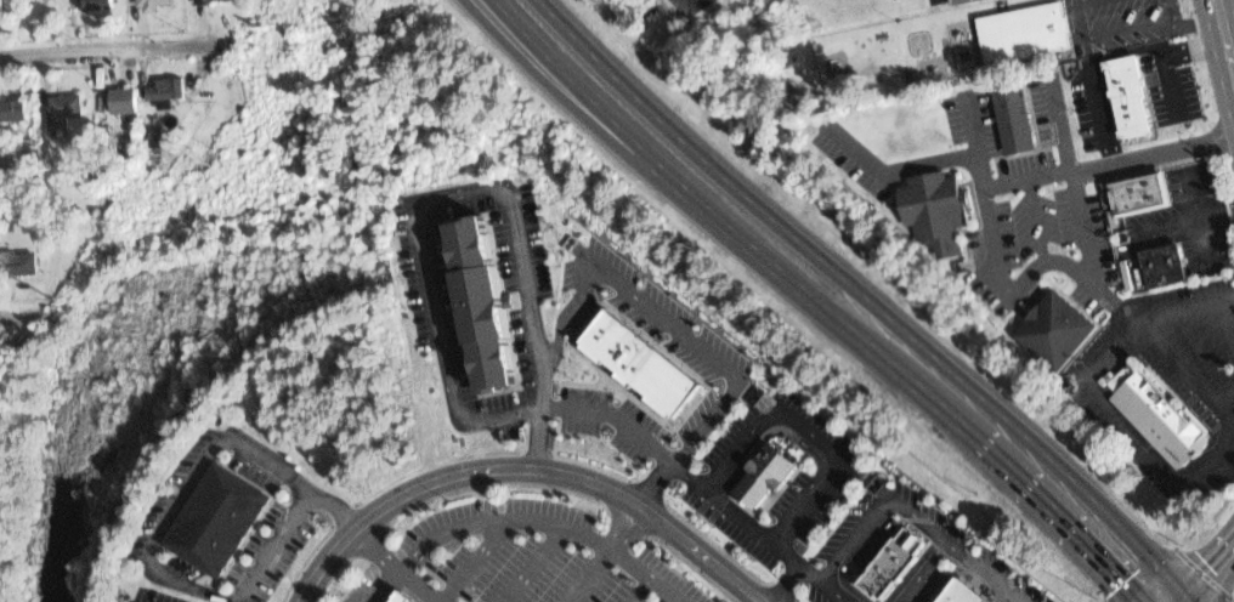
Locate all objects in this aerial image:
building: (215, 0)
building: (154, 2)
building: (966, 2)
building: (97, 4)
building: (0, 5)
building: (1021, 30)
road: (1133, 32)
road: (1228, 44)
road: (115, 46)
road: (1222, 49)
road: (1194, 52)
road: (1110, 53)
building: (171, 91)
building: (1131, 96)
road: (593, 100)
building: (123, 103)
building: (63, 107)
road: (573, 107)
building: (15, 110)
building: (1012, 115)
road: (1109, 161)
road: (896, 169)
road: (1075, 182)
building: (1134, 192)
building: (925, 208)
road: (1200, 218)
road: (1037, 220)
road: (1184, 221)
road: (425, 249)
road: (1047, 260)
building: (19, 263)
building: (1151, 263)
road: (859, 293)
building: (479, 301)
road: (16, 313)
road: (668, 317)
road: (1144, 319)
road: (1228, 319)
building: (1049, 331)
building: (604, 335)
building: (623, 351)
building: (638, 362)
building: (652, 373)
building: (664, 382)
building: (679, 396)
road: (925, 397)
building: (1154, 415)
road: (809, 436)
road: (1228, 436)
road: (523, 454)
building: (759, 482)
road: (656, 485)
building: (215, 515)
road: (539, 521)
road: (159, 526)
road: (755, 533)
road: (855, 541)
road: (960, 550)
road: (602, 555)
building: (890, 560)
road: (474, 561)
road: (533, 563)
road: (391, 564)
road: (1200, 568)
road: (923, 572)
road: (788, 585)
road: (385, 586)
road: (636, 590)
traffic signals: (1179, 590)
building: (957, 595)
road: (1183, 596)
building: (408, 598)

